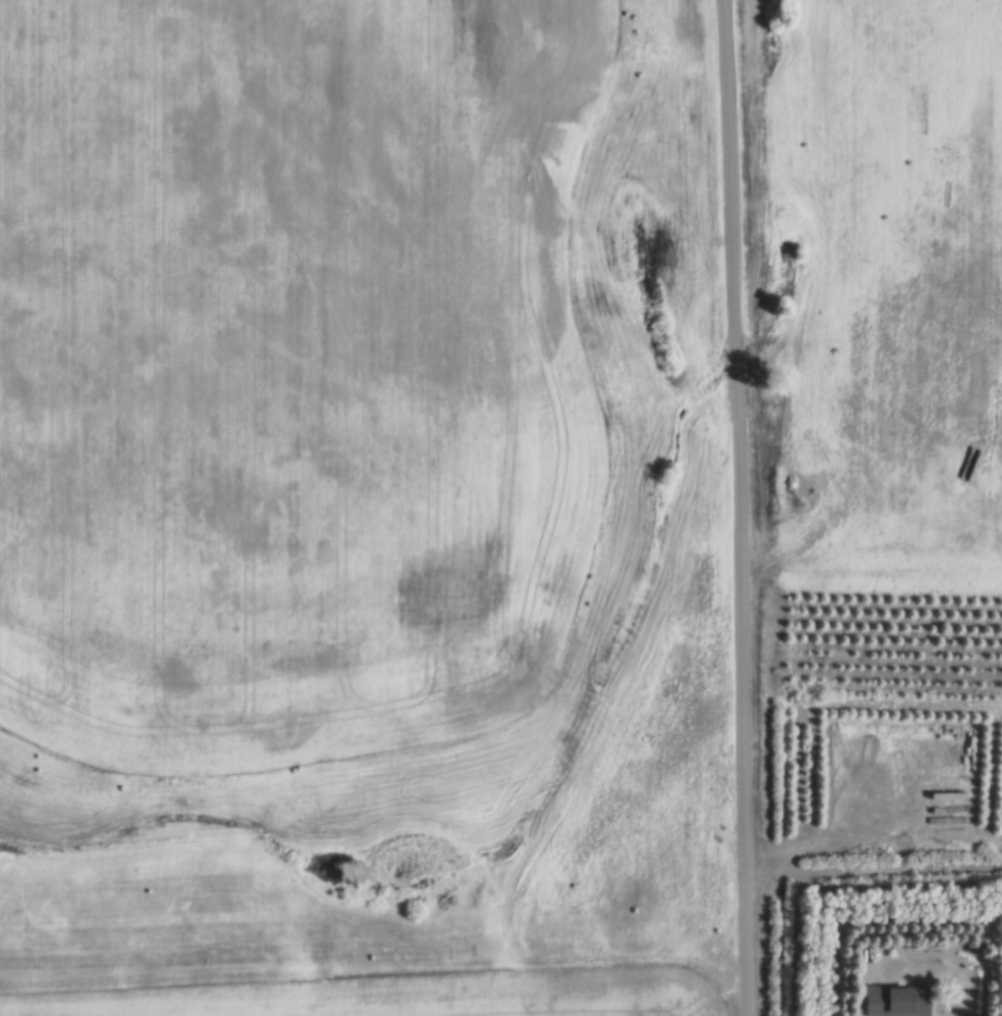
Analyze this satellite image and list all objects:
road: (757, 507)
building: (951, 794)
building: (984, 935)
building: (896, 998)

